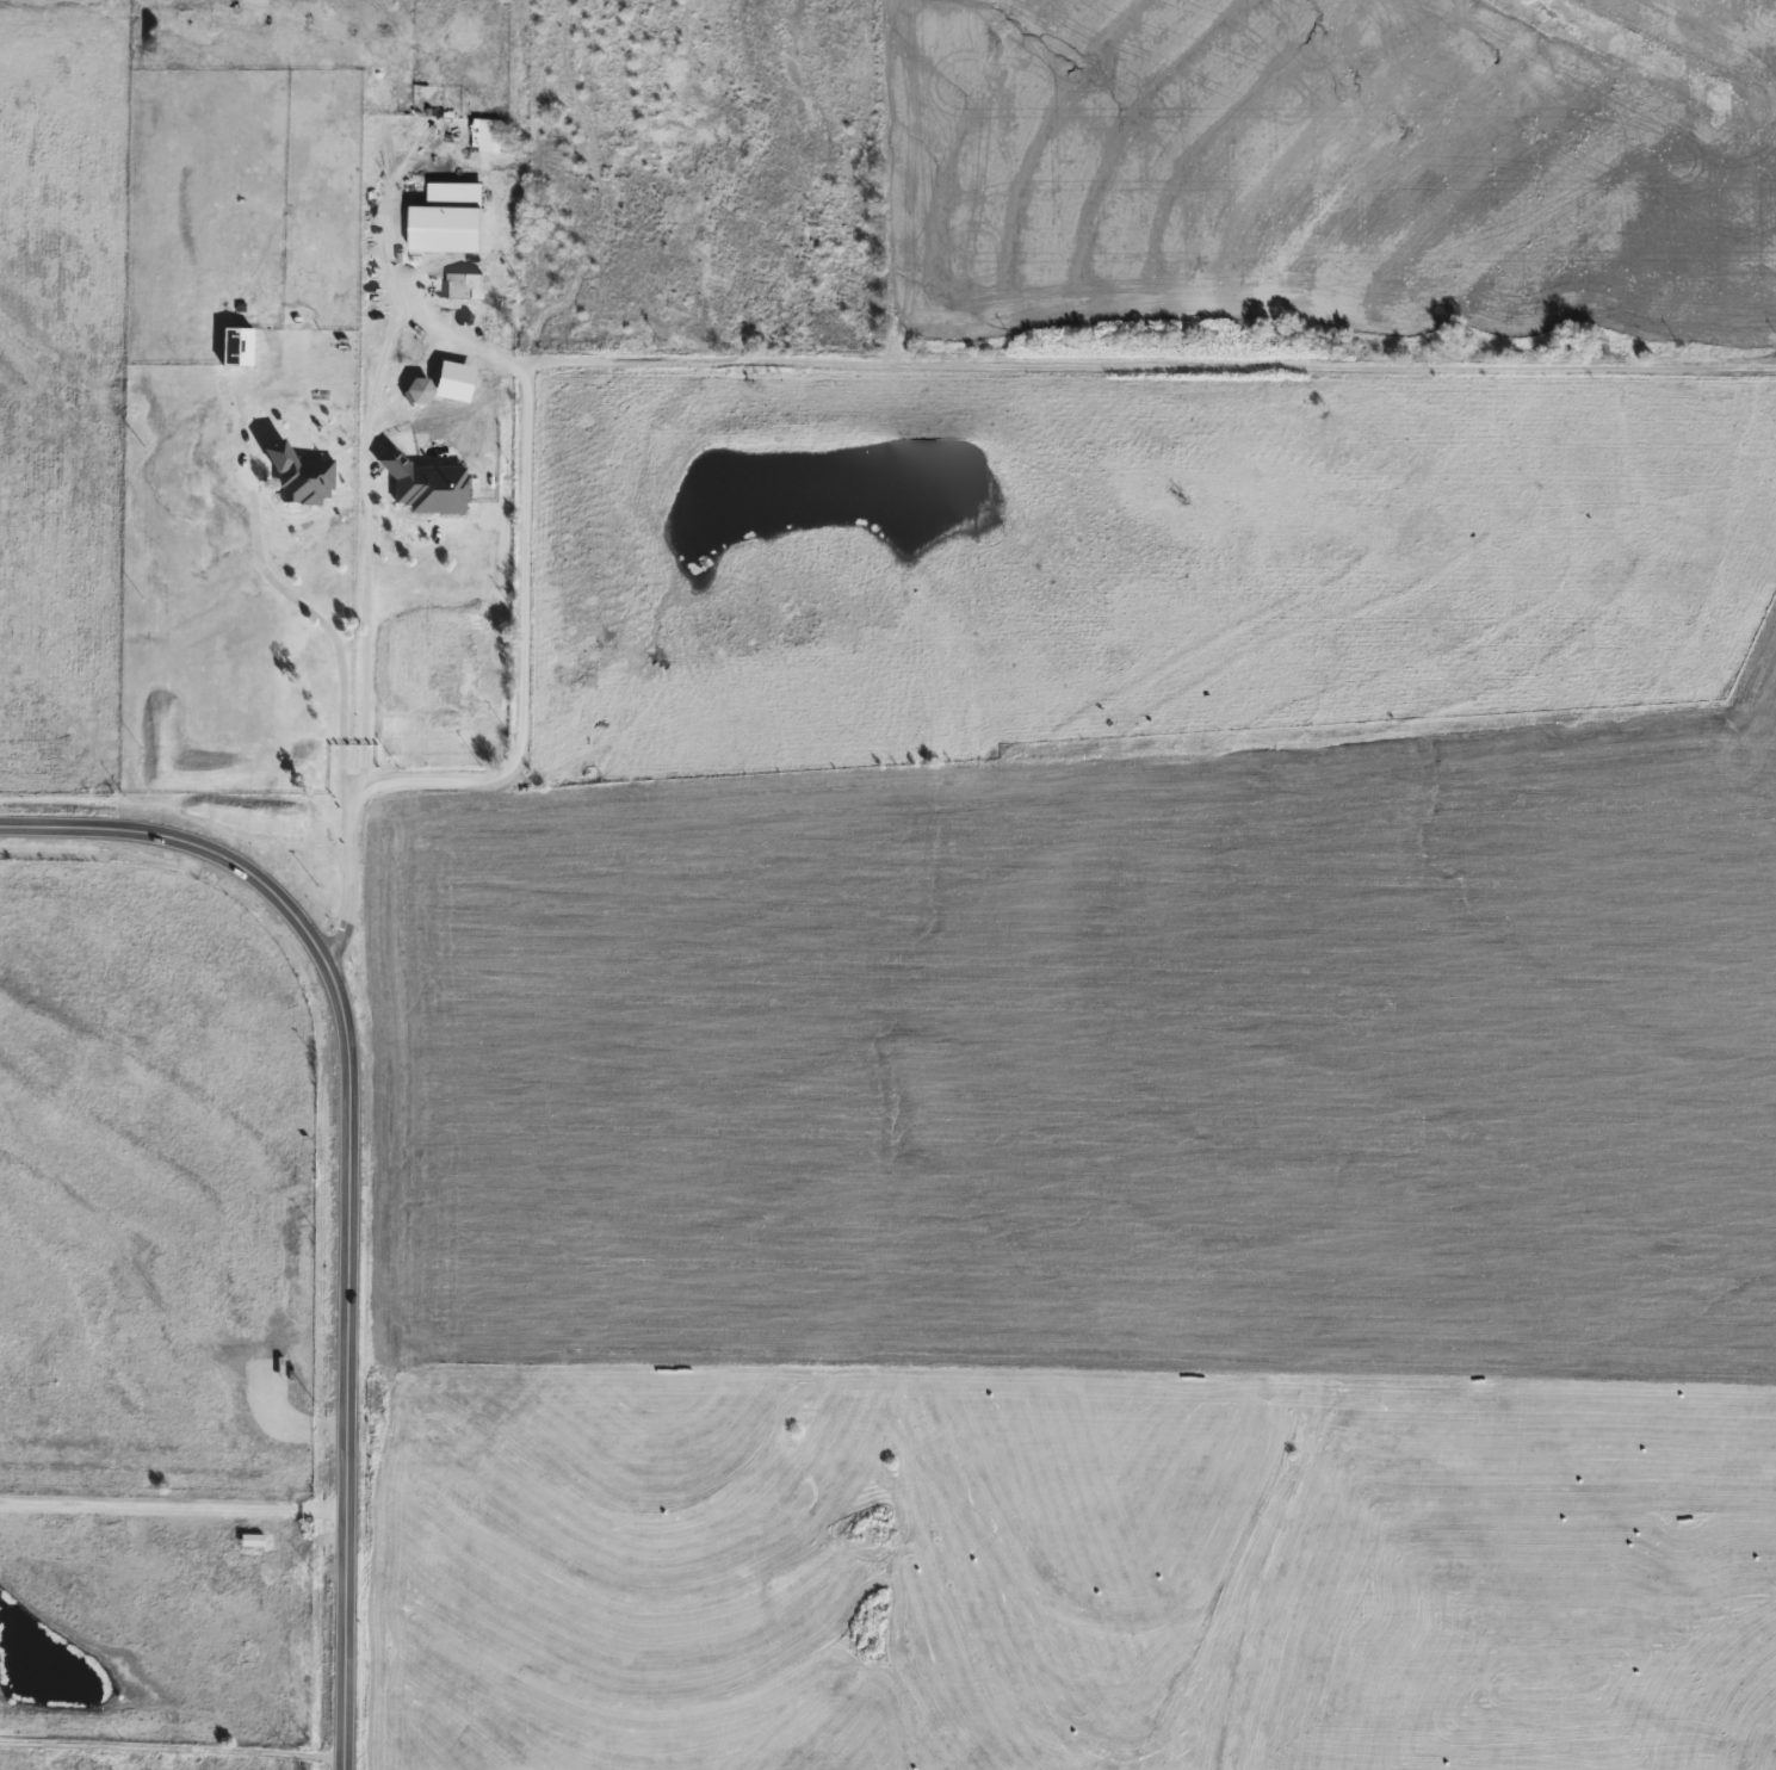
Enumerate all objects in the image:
building: (459, 286)
road: (414, 318)
road: (1149, 359)
building: (295, 476)
building: (421, 485)
road: (365, 545)
road: (328, 630)
road: (520, 747)
road: (352, 1175)
road: (173, 1508)
building: (247, 1542)
road: (173, 1753)

